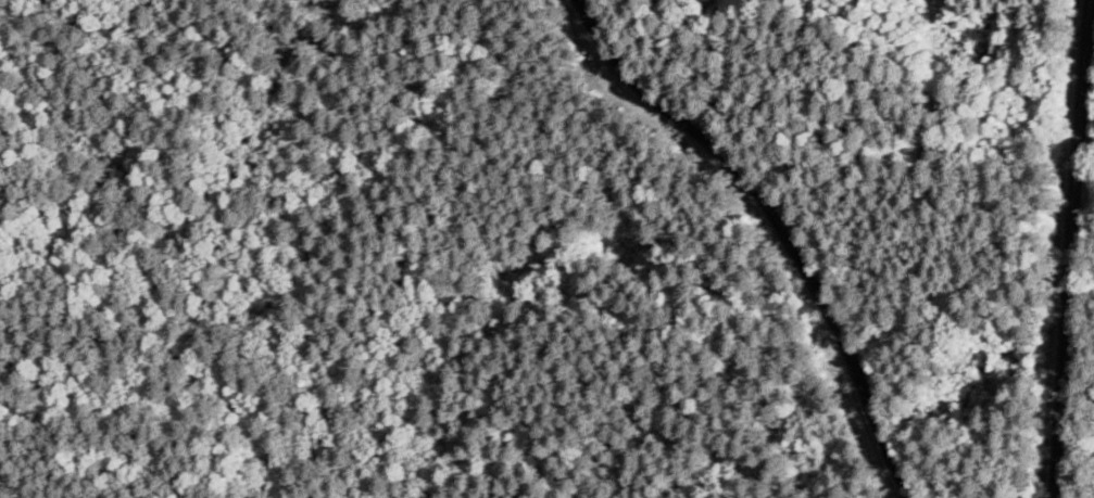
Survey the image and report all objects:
road: (726, 231)
road: (1056, 248)

